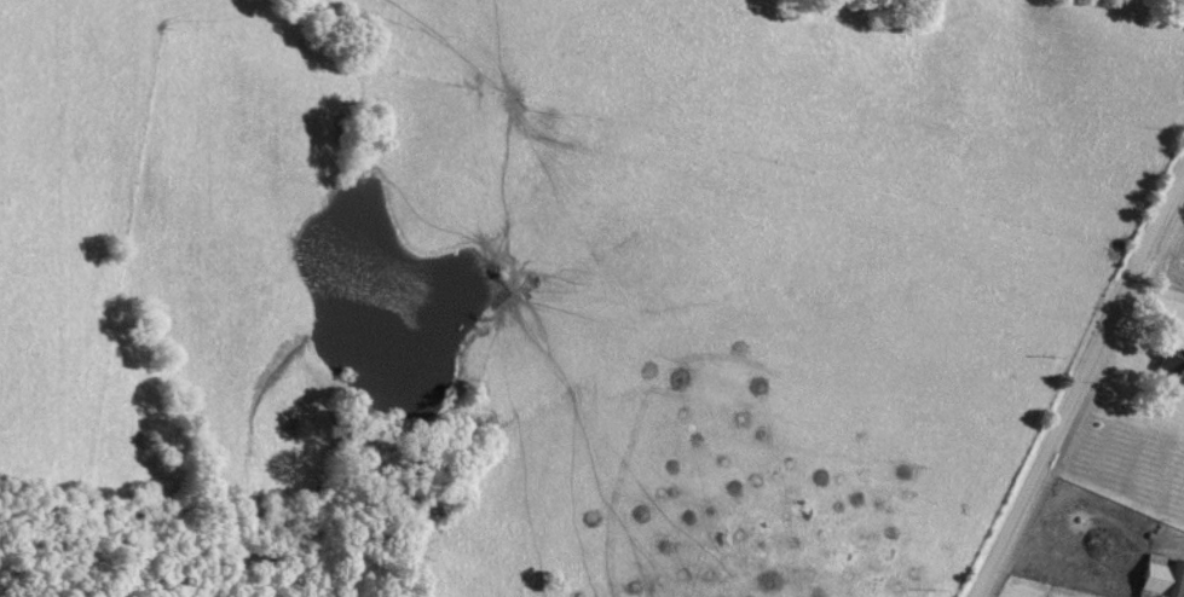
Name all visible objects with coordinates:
road: (1153, 301)
building: (1172, 364)
road: (1079, 381)
building: (1161, 578)

